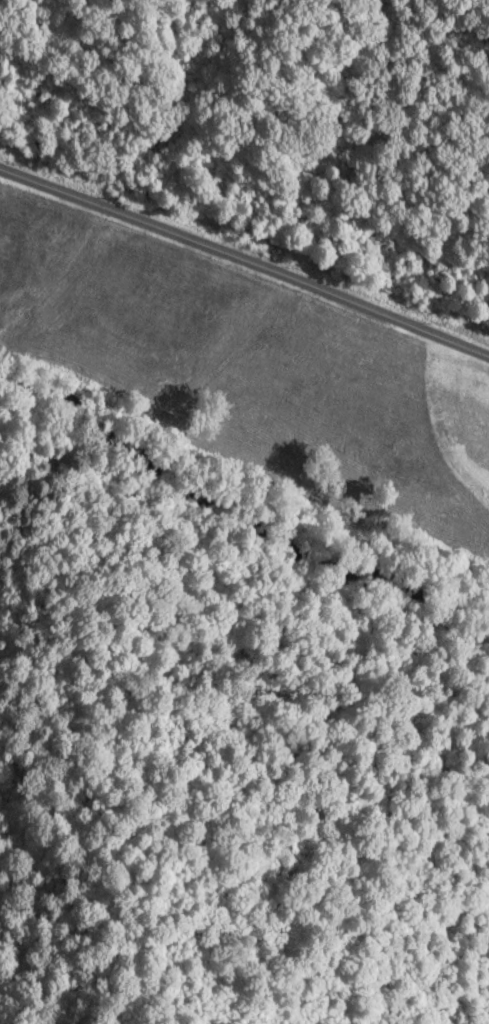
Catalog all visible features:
road: (244, 270)
road: (151, 387)

